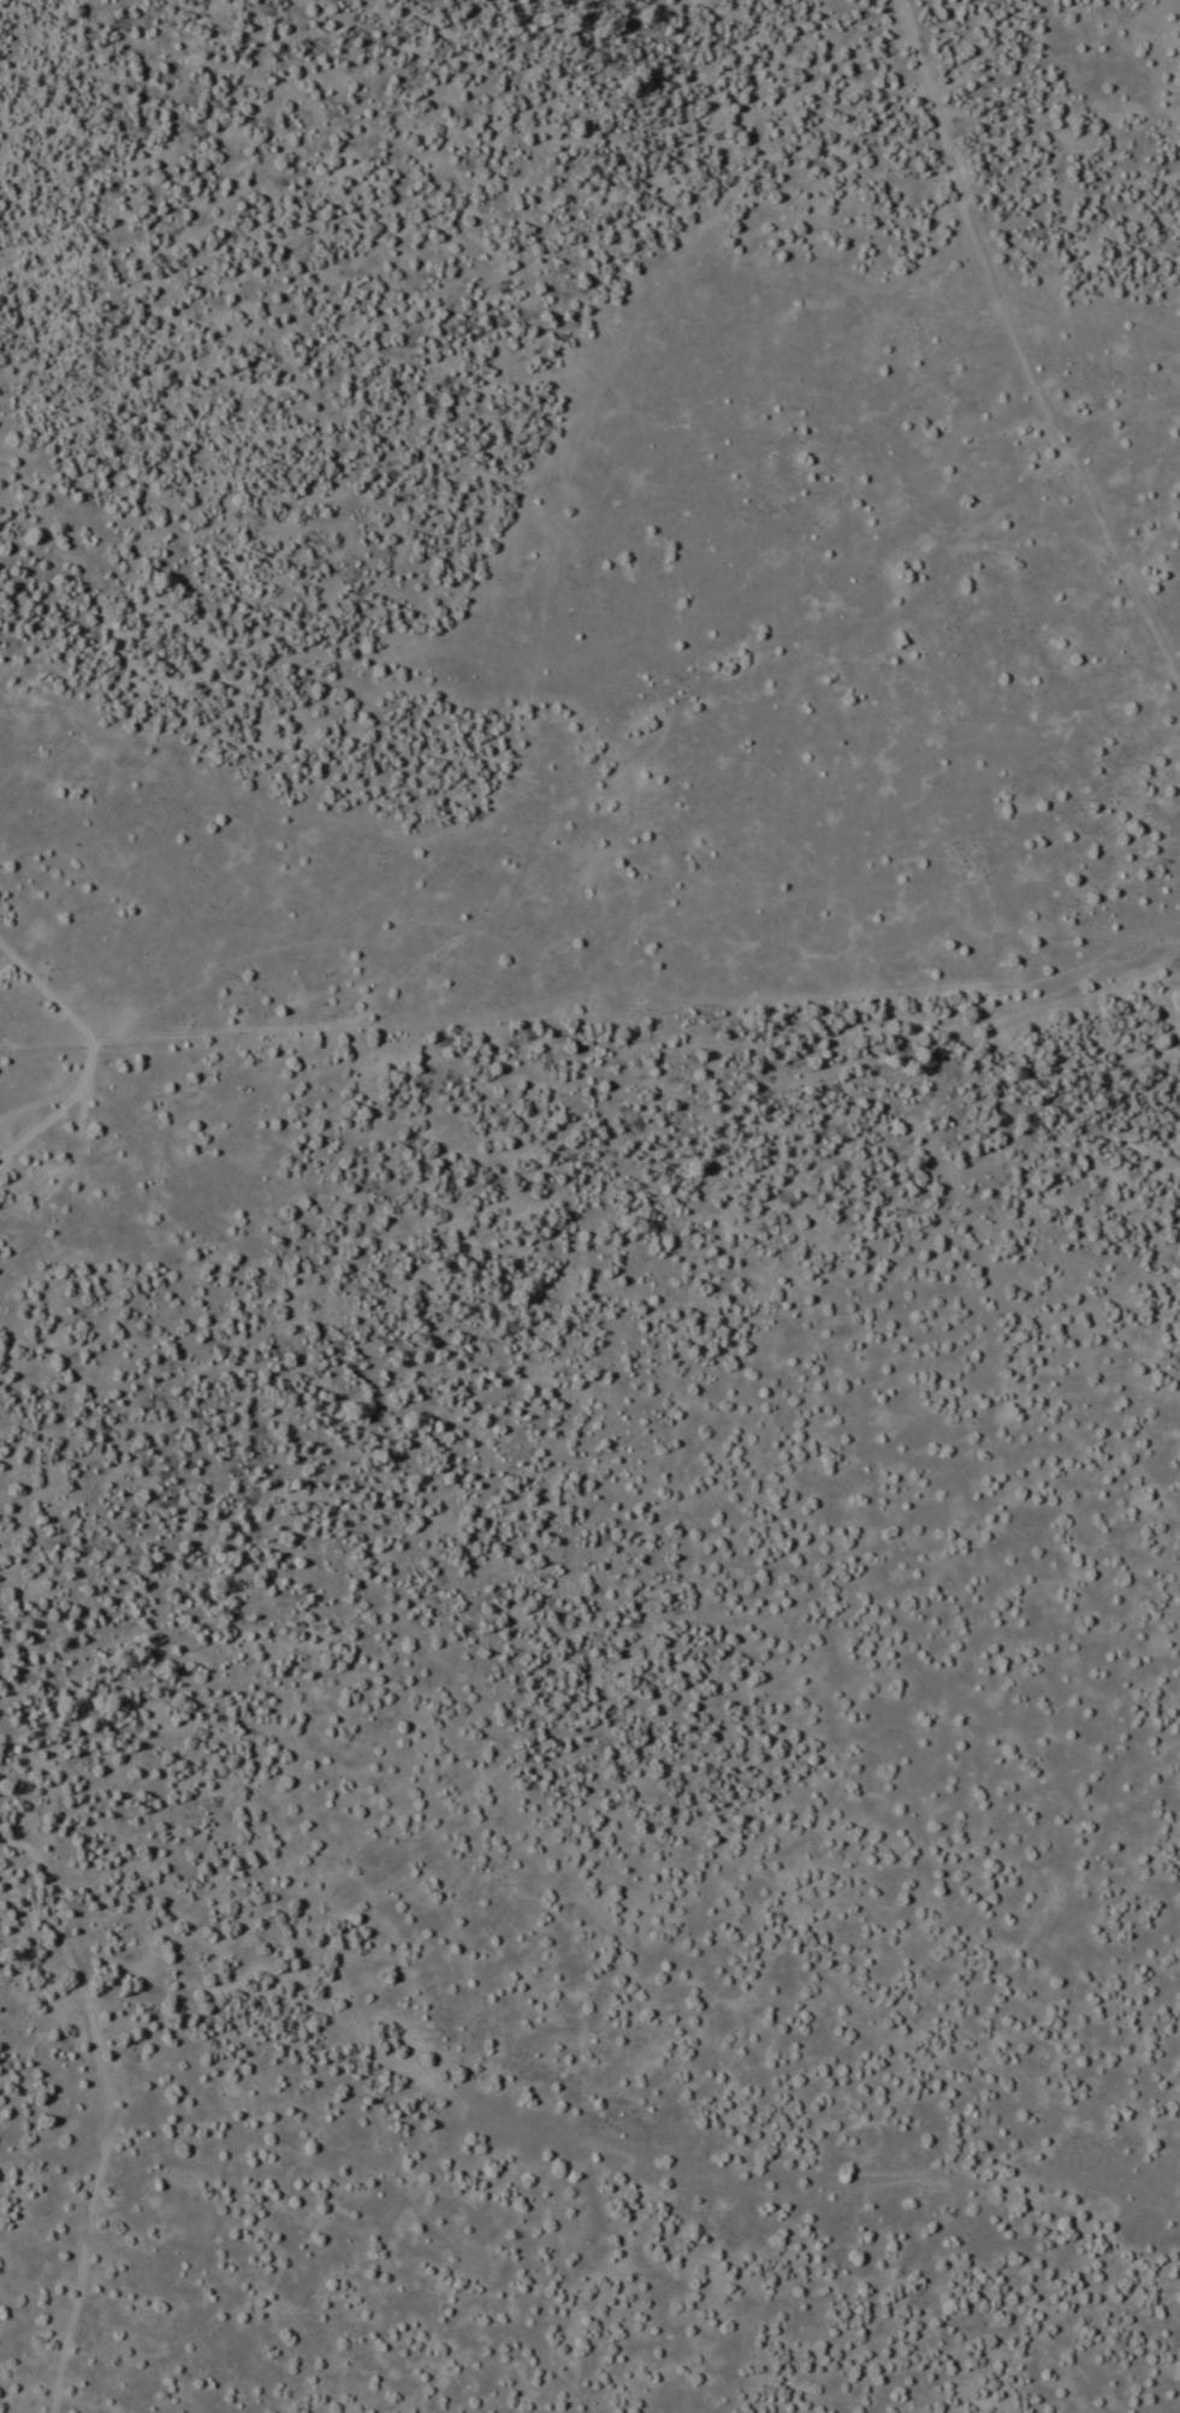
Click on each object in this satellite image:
road: (605, 822)

